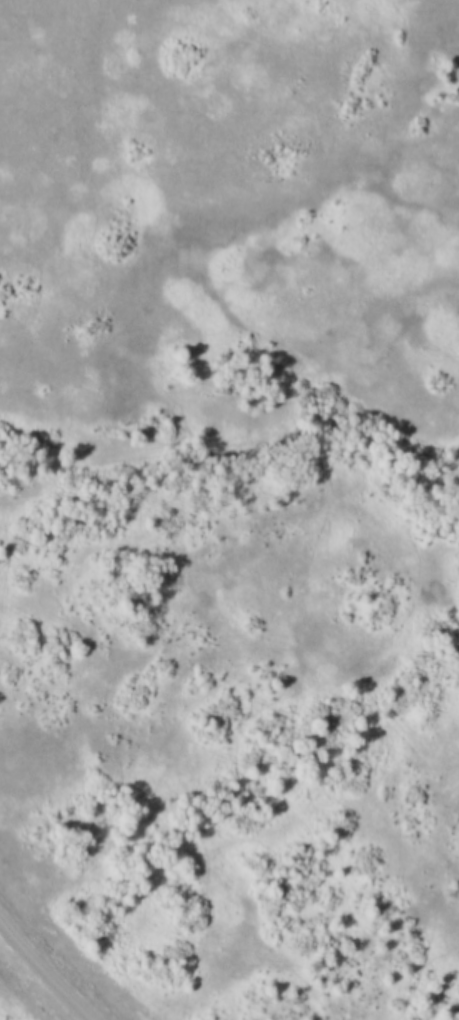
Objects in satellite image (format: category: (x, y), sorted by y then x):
road: (45, 975)

